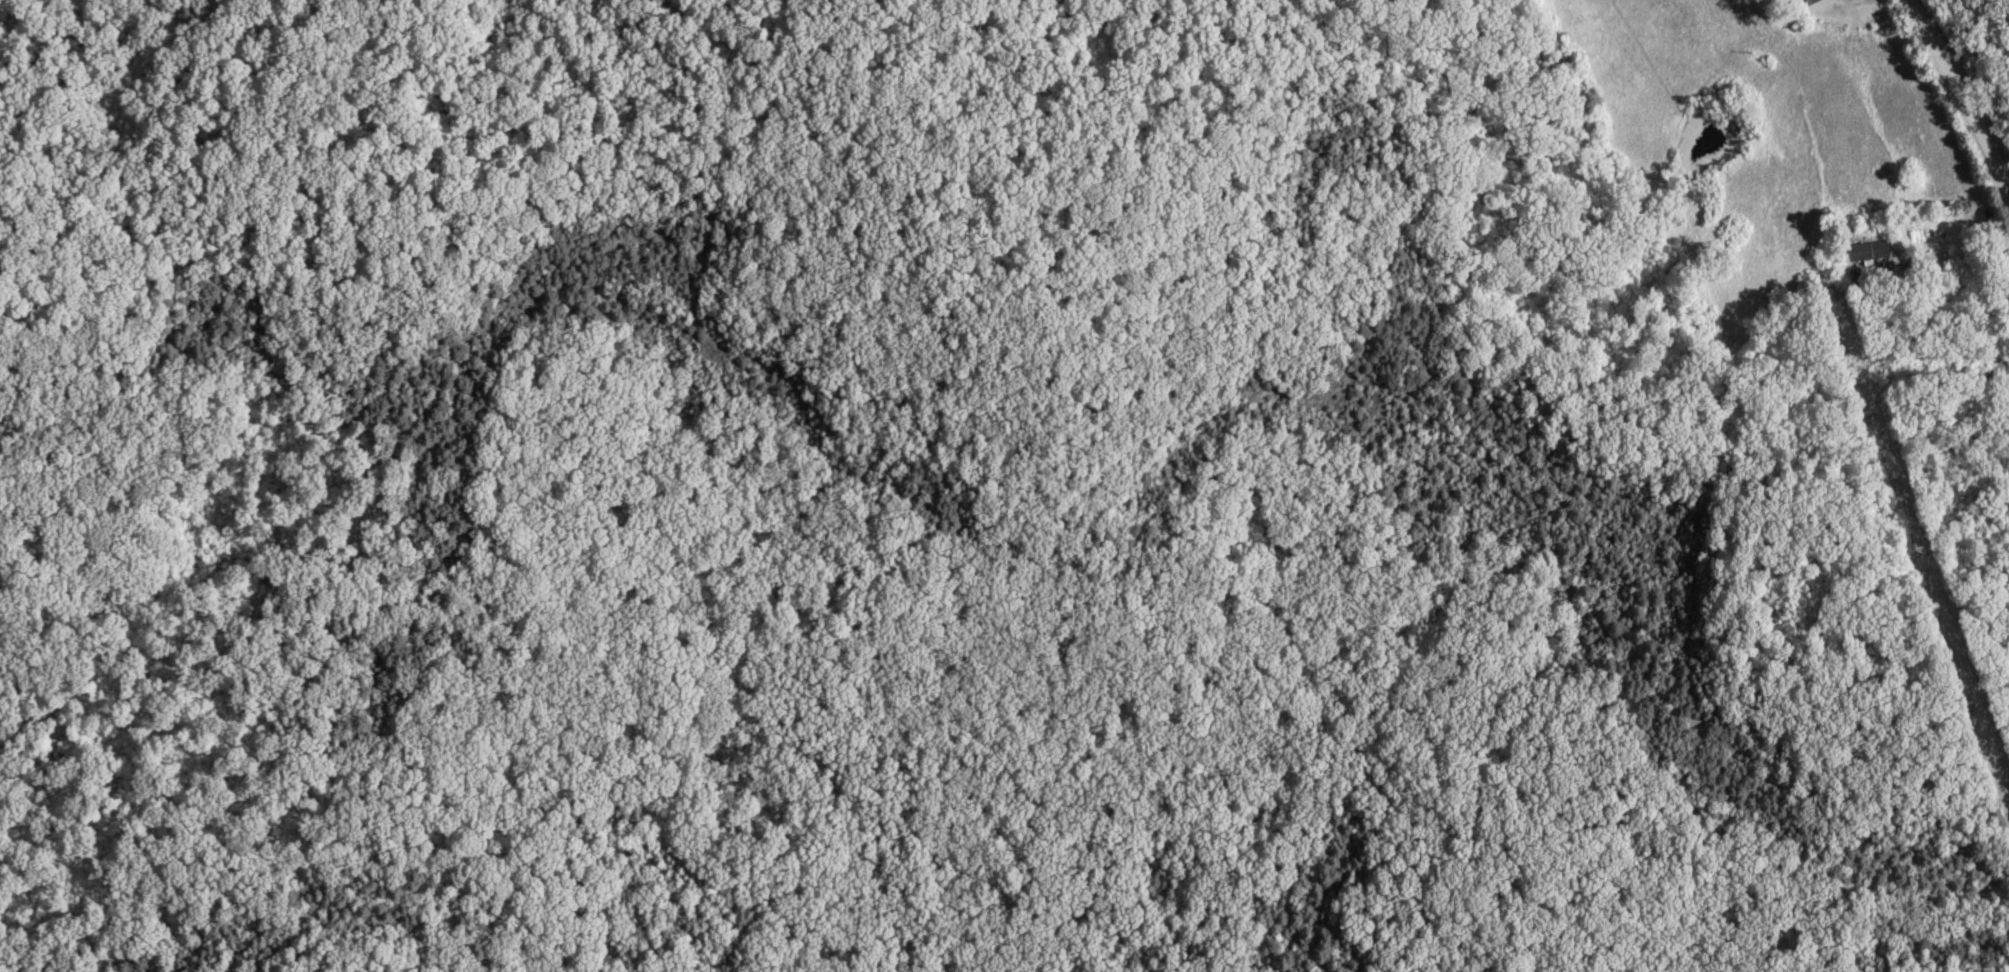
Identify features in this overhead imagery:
building: (1809, 2)
road: (1961, 90)
building: (1869, 255)
road: (1945, 263)

